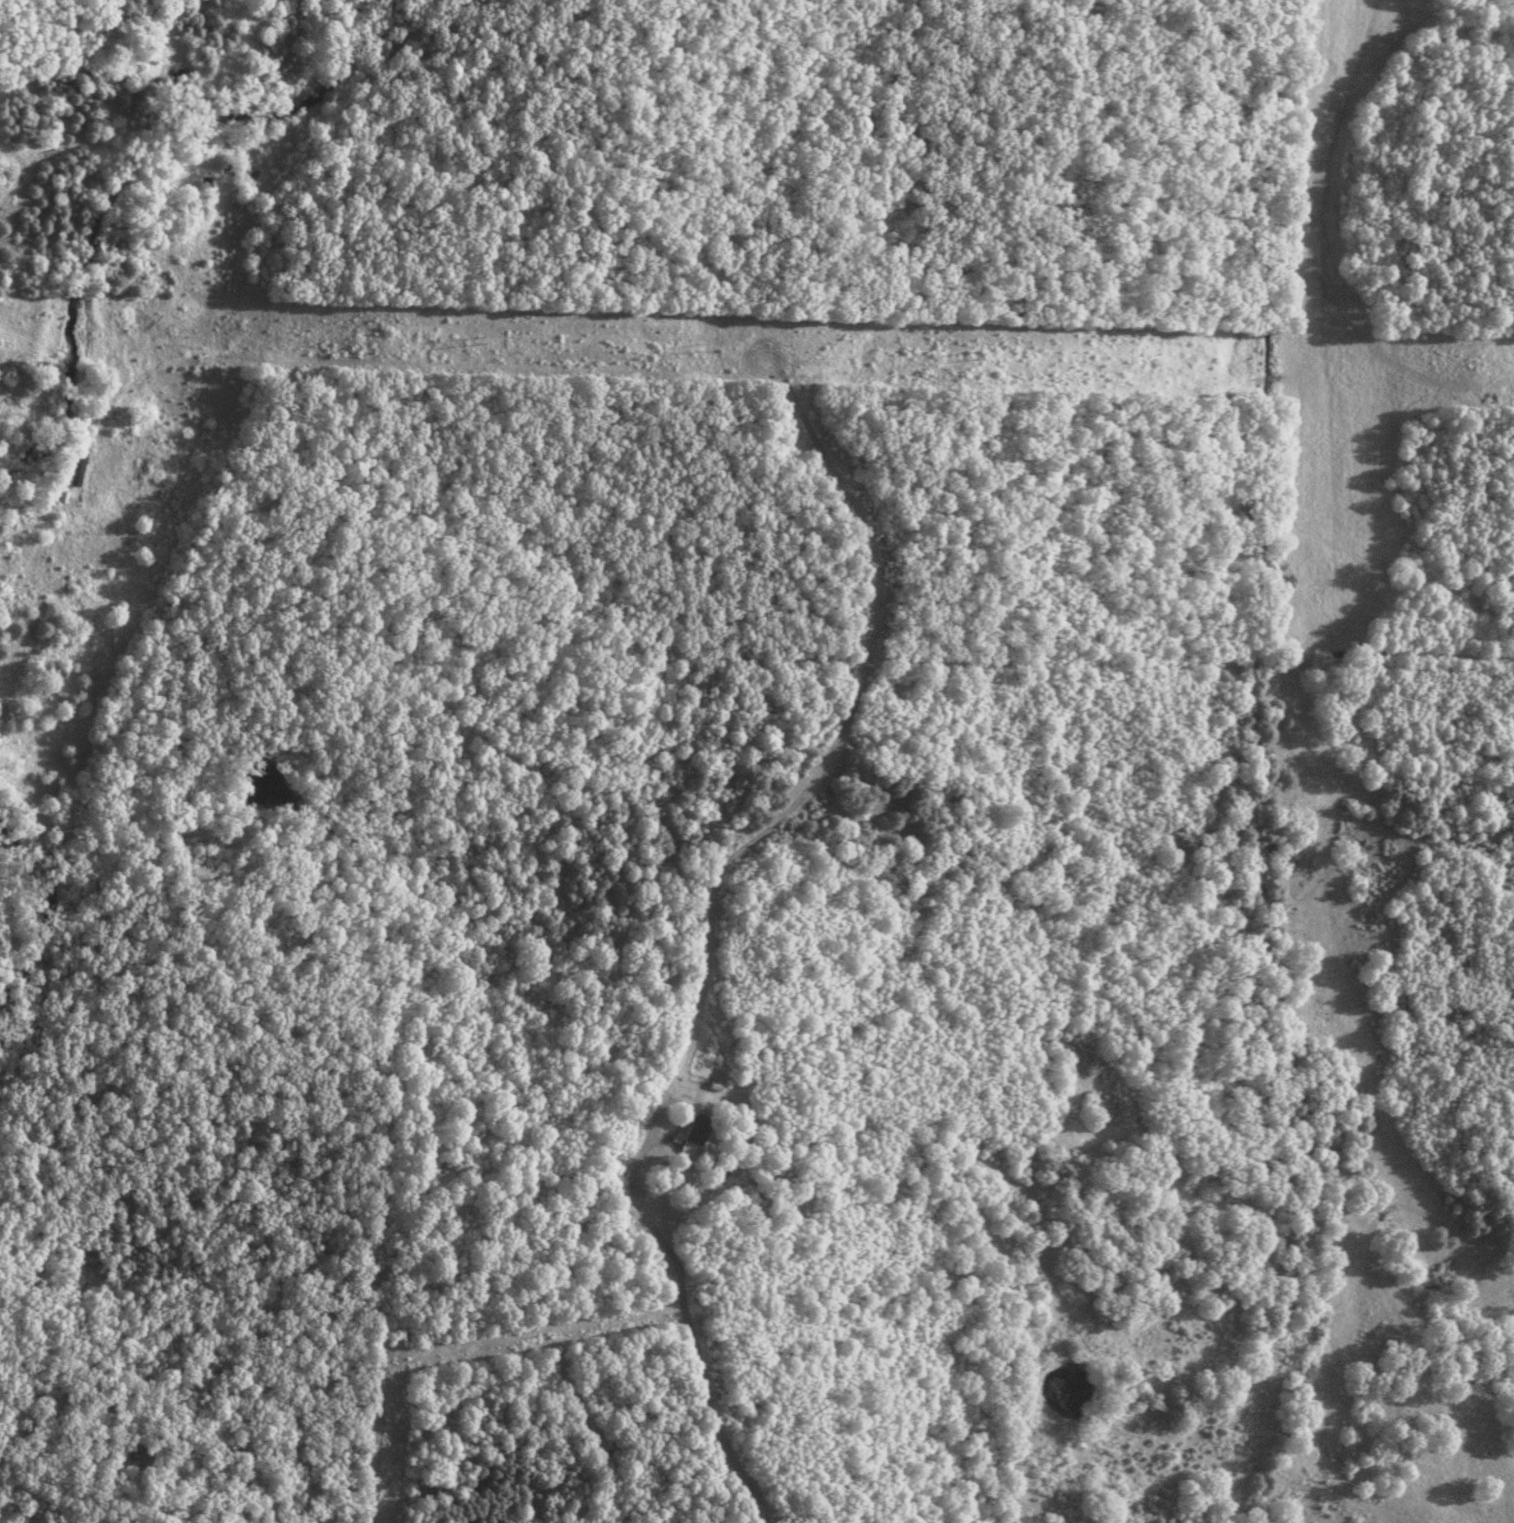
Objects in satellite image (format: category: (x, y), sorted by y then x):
power tower: (469, 338)
power tower: (690, 341)
power tower: (958, 344)
building: (75, 467)
building: (696, 1128)

